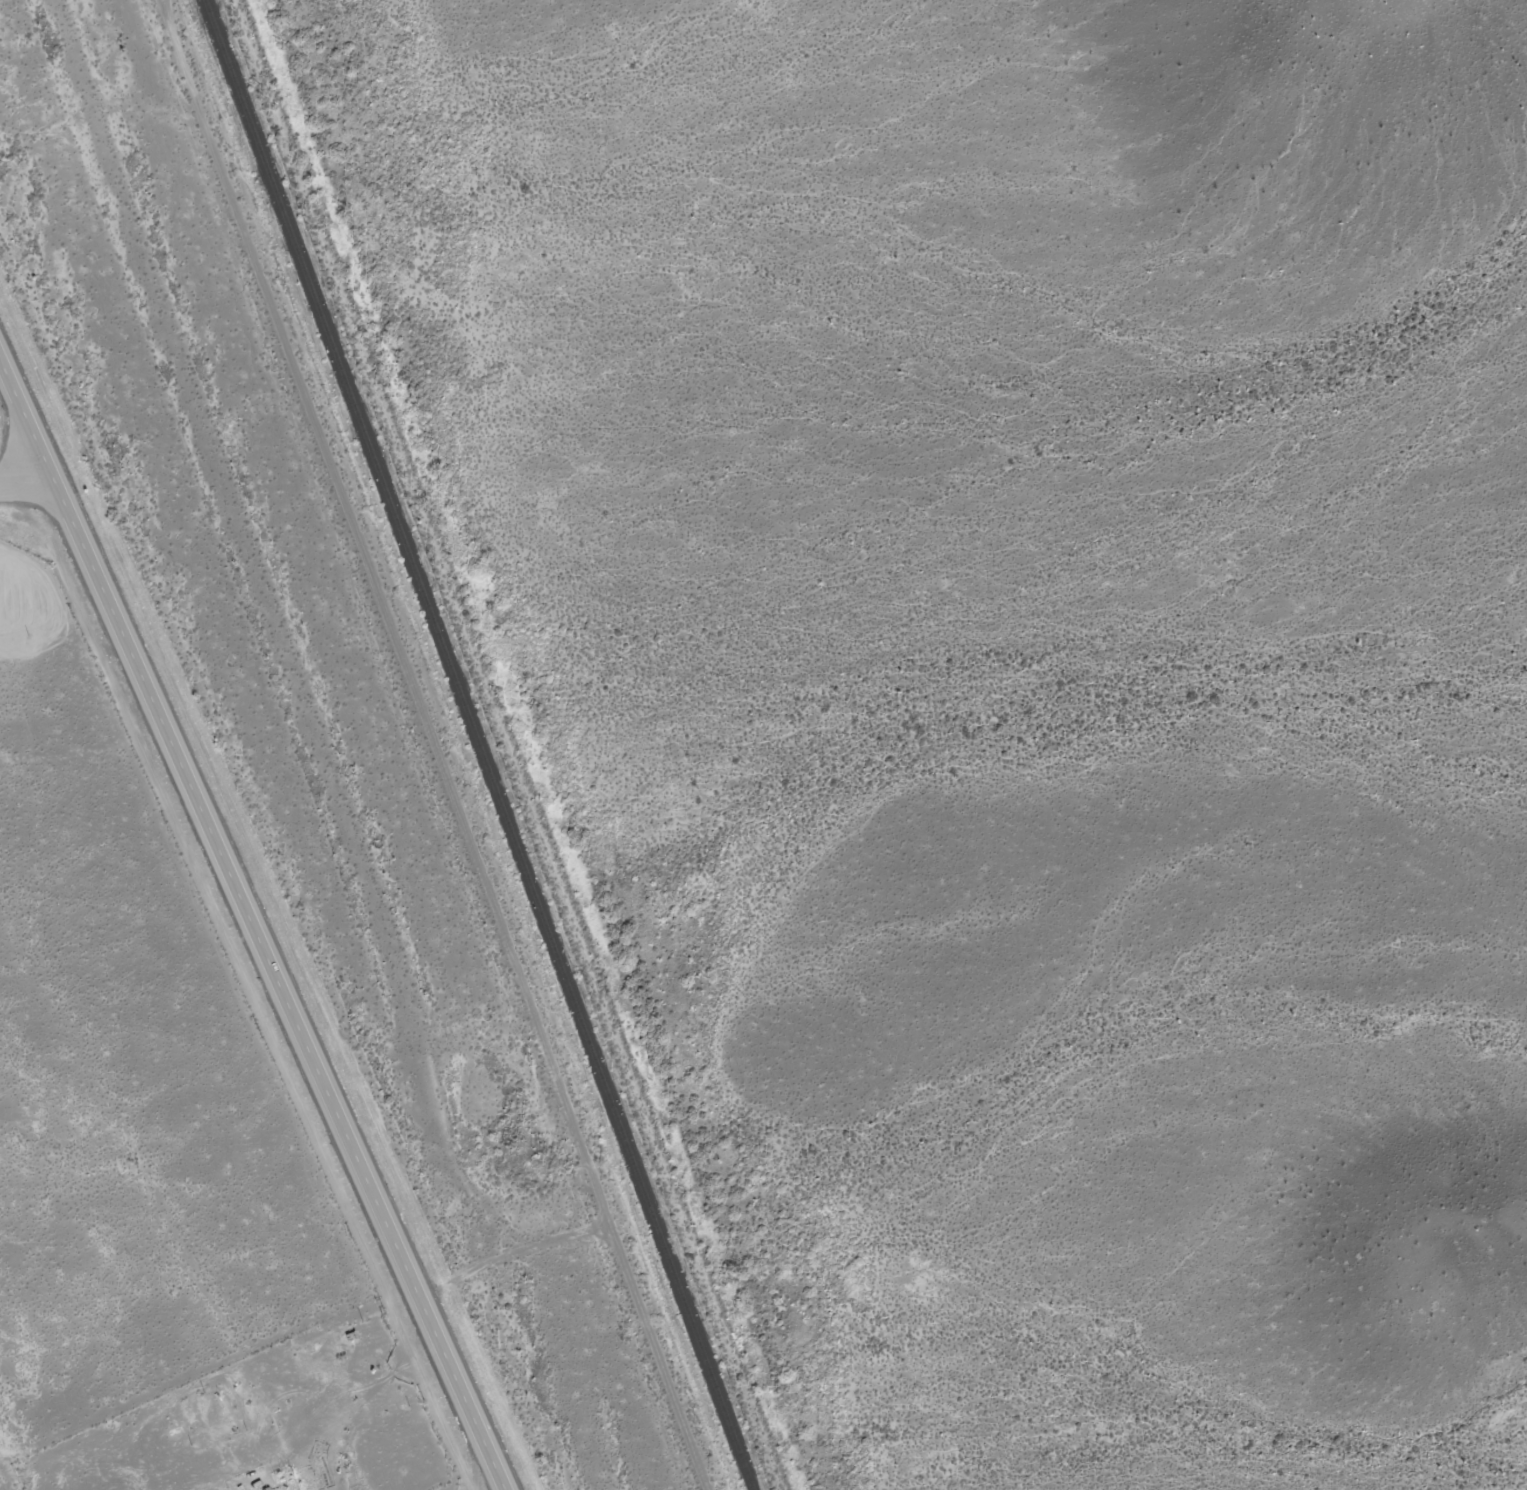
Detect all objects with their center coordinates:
road: (24, 478)
railway: (480, 744)
road: (253, 929)

